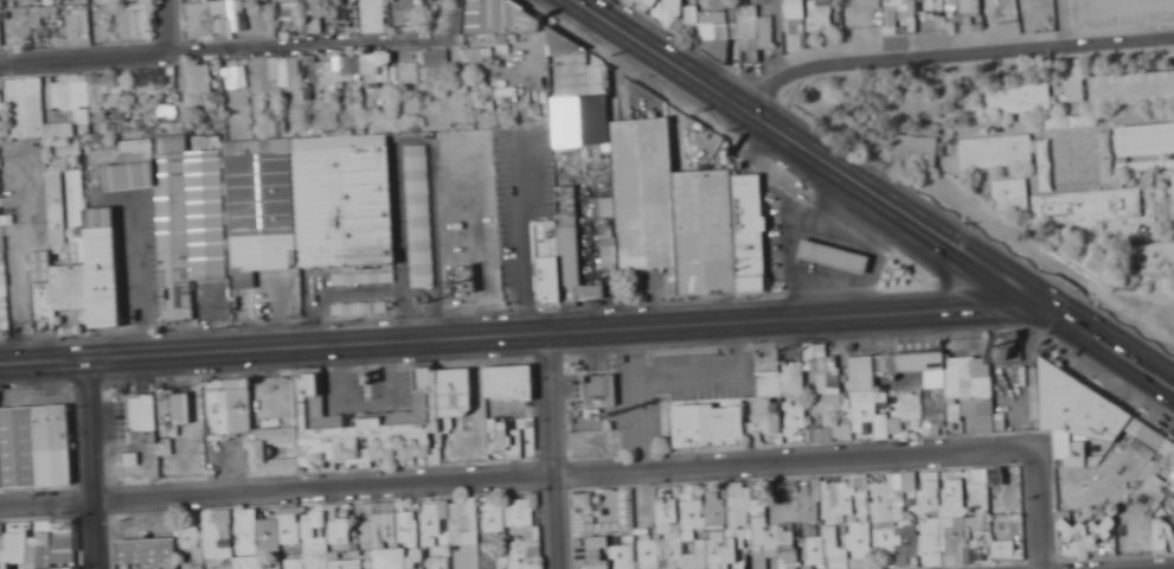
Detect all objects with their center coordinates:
road: (681, 87)
road: (881, 183)
gas station: (832, 251)

